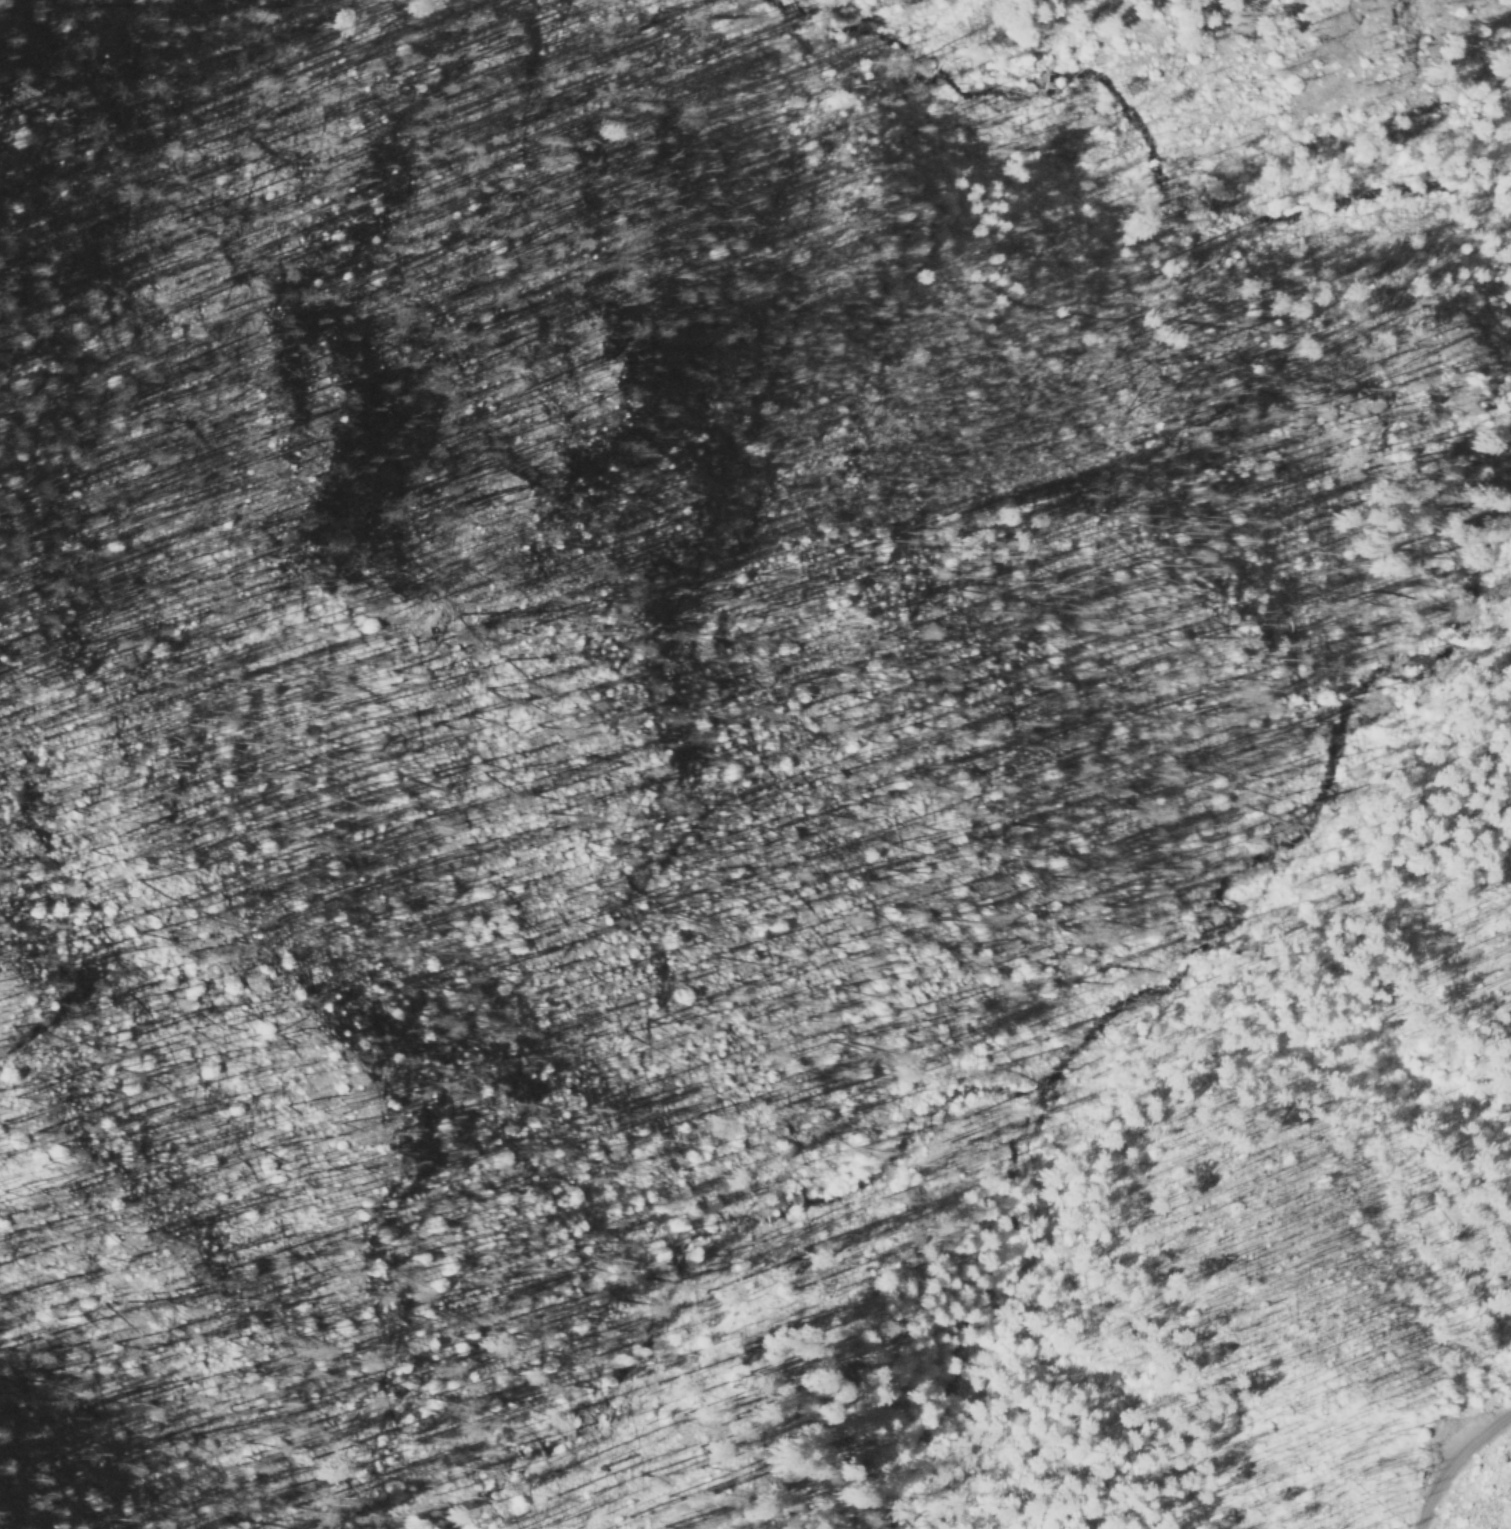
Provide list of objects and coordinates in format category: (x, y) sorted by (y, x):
road: (883, 329)
road: (1458, 1465)

